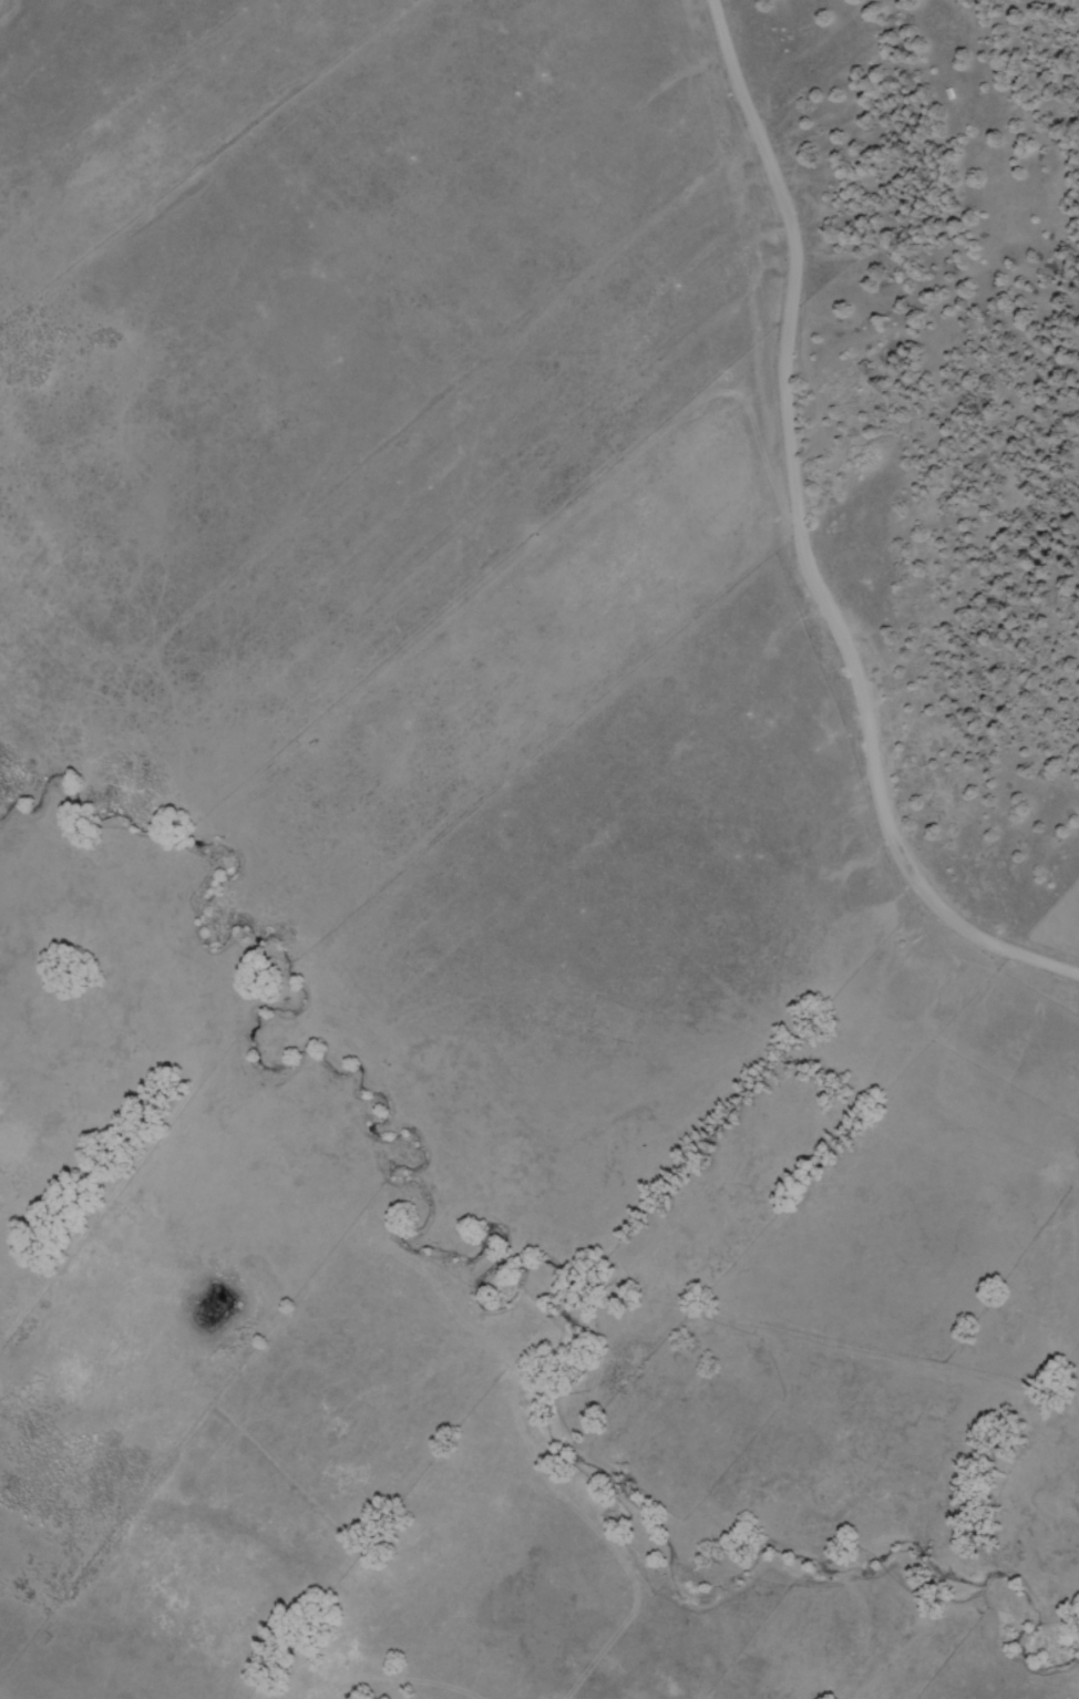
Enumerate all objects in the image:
road: (799, 517)

